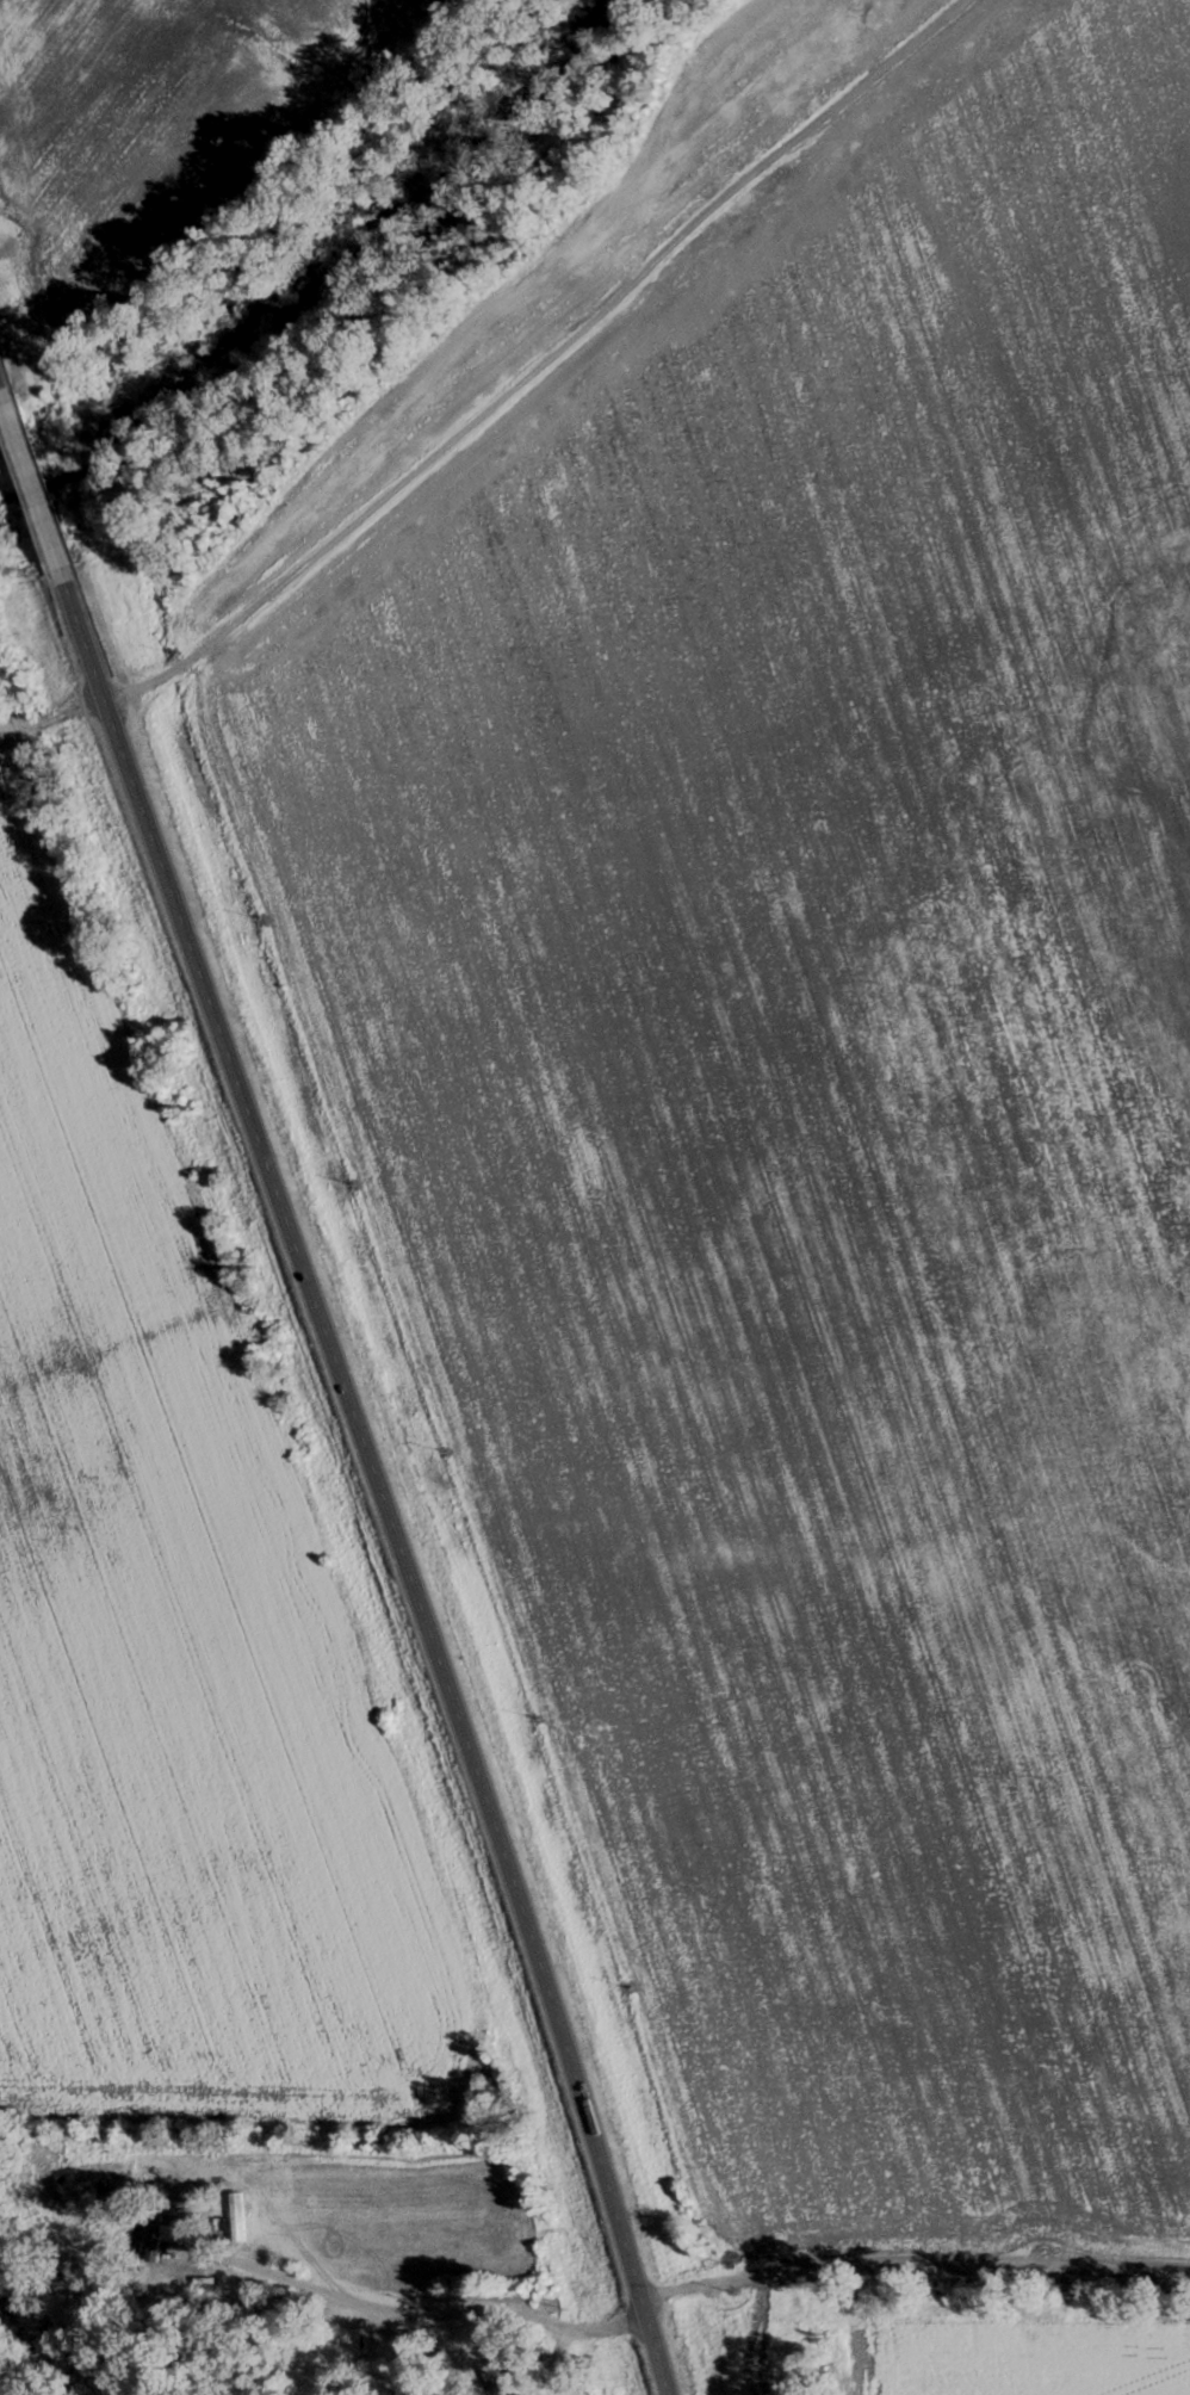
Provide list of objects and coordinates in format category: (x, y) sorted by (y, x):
river: (327, 271)
road: (541, 360)
road: (32, 489)
road: (52, 718)
road: (377, 1485)
building: (147, 2235)
river: (45, 2354)
building: (497, 2377)

